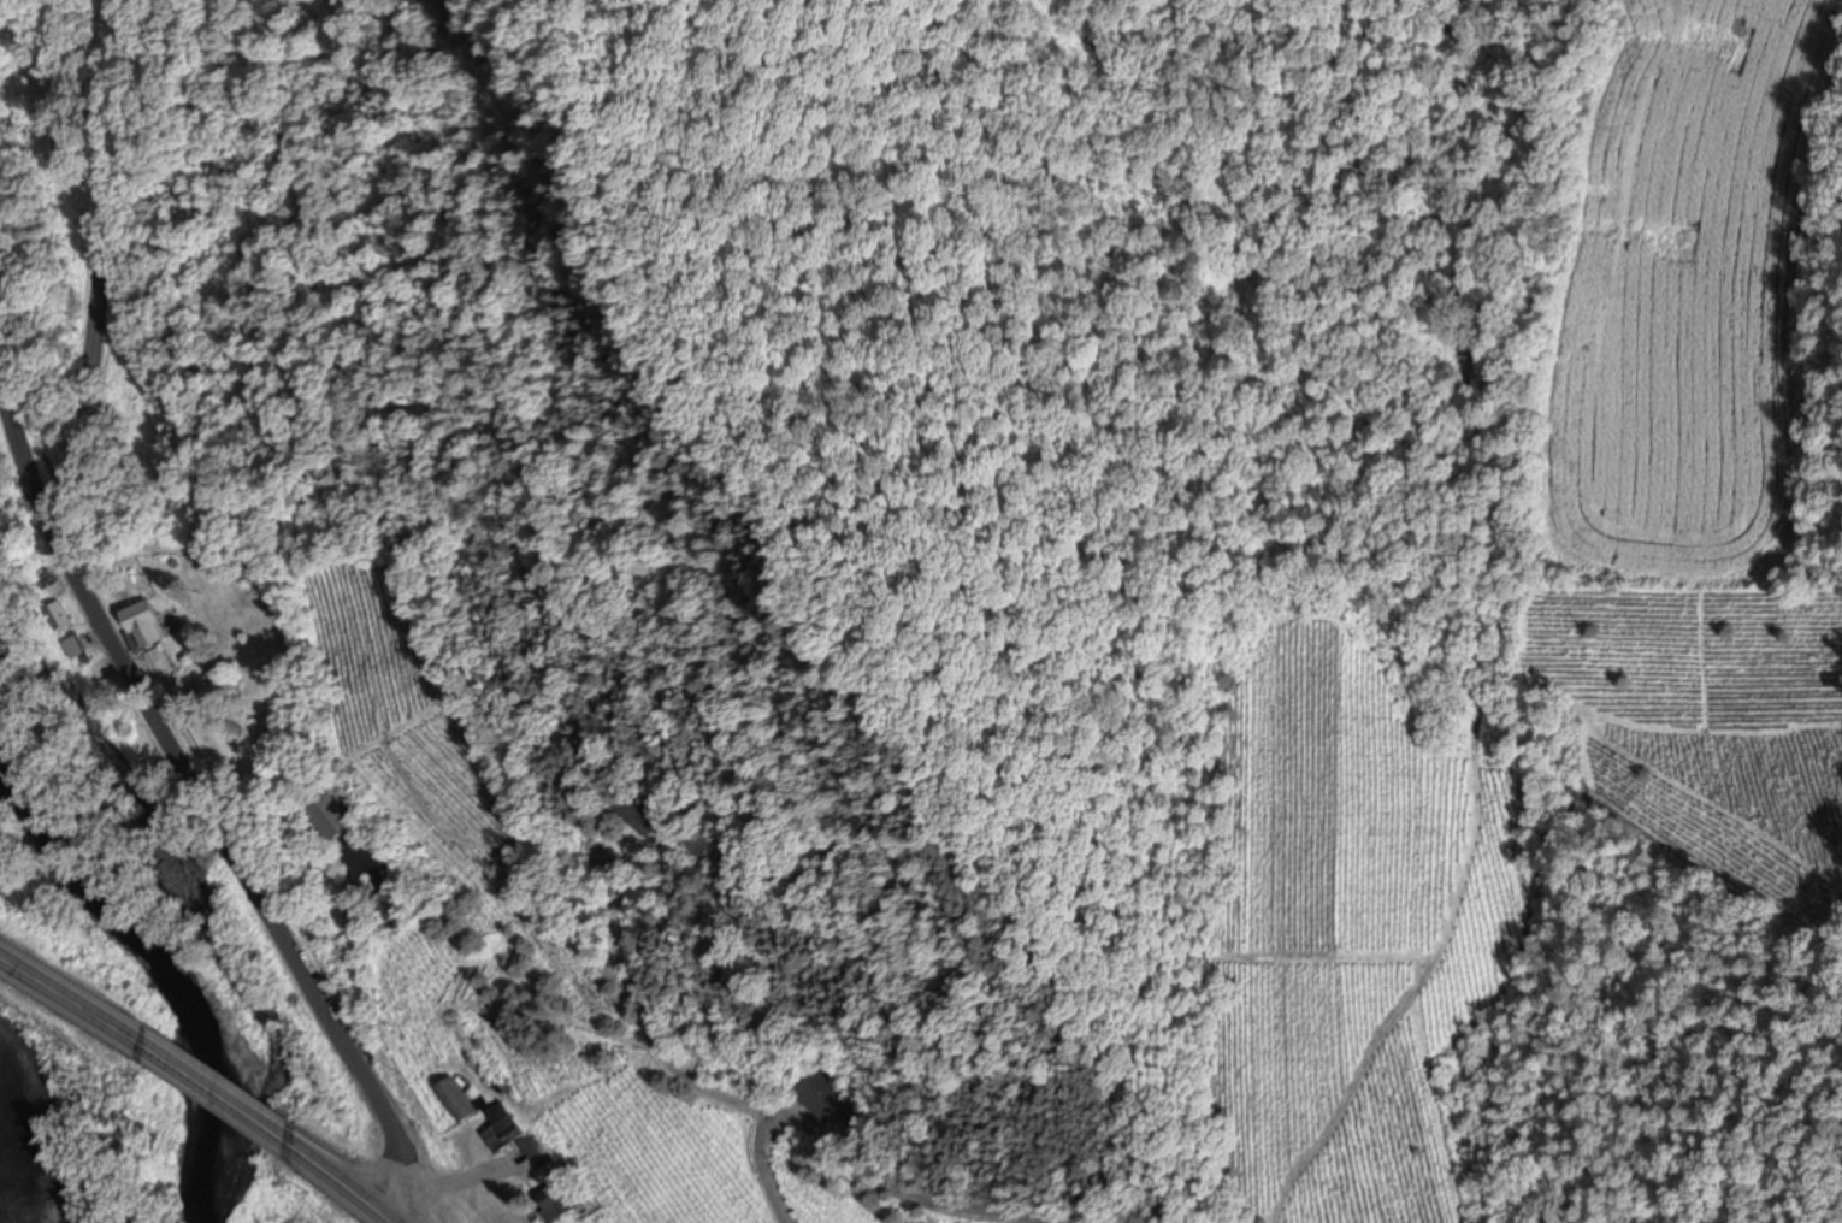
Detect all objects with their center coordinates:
road: (102, 270)
road: (23, 455)
building: (58, 613)
building: (142, 622)
building: (72, 644)
building: (640, 811)
building: (330, 813)
road: (241, 874)
building: (390, 902)
road: (71, 994)
road: (644, 1024)
road: (213, 1088)
building: (455, 1097)
building: (823, 1097)
building: (512, 1133)
road: (838, 1166)
road: (340, 1180)
building: (555, 1199)

